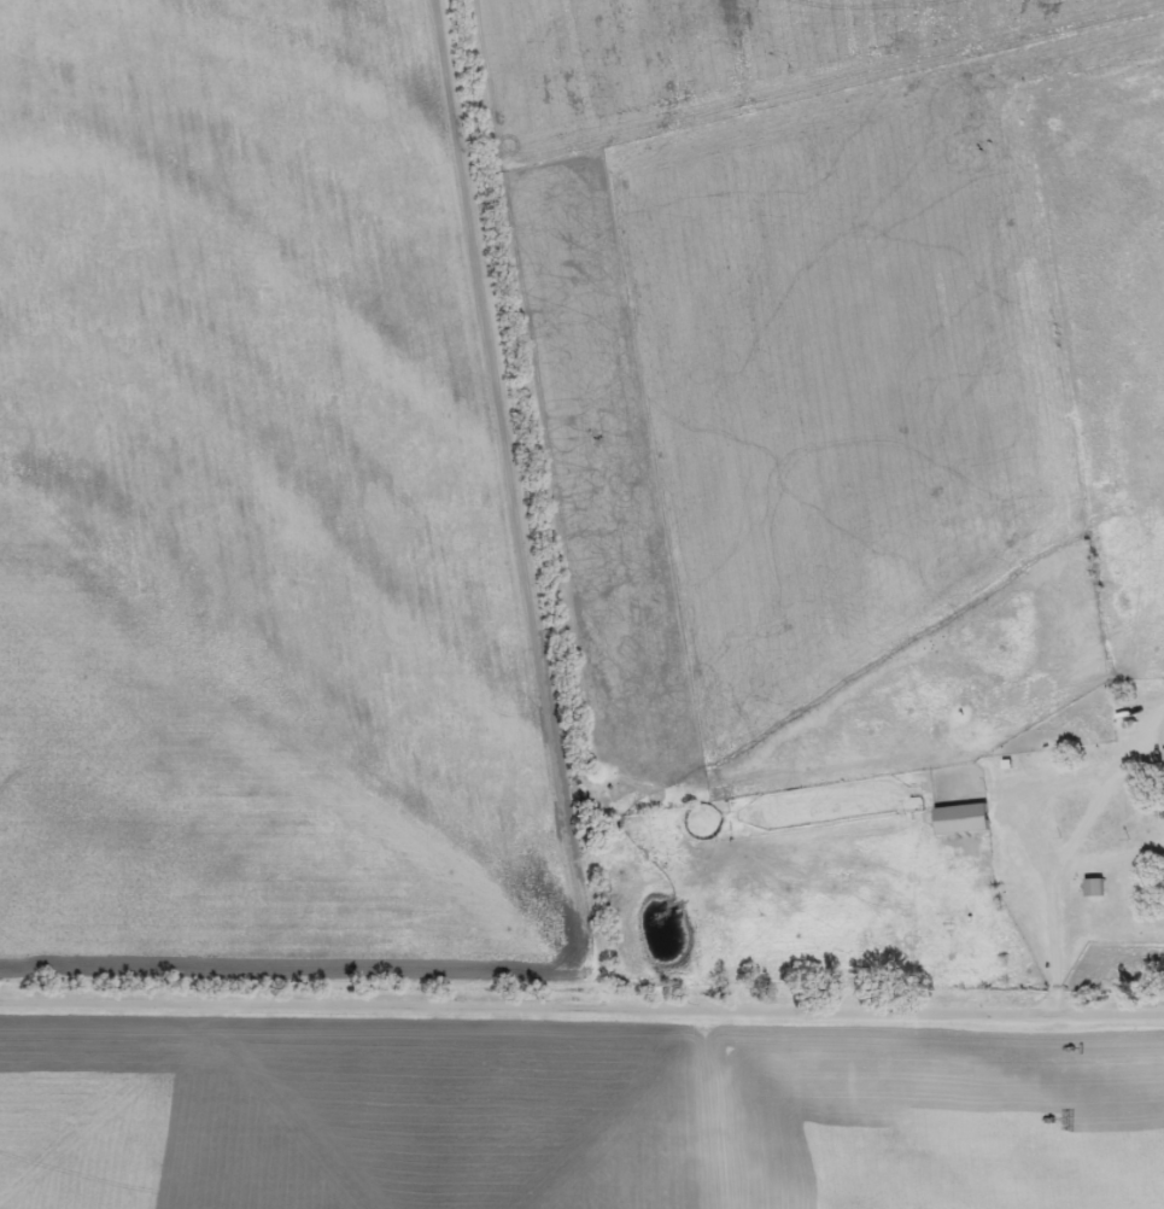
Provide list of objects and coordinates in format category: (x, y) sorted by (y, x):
building: (959, 820)
building: (1092, 889)
road: (583, 998)

